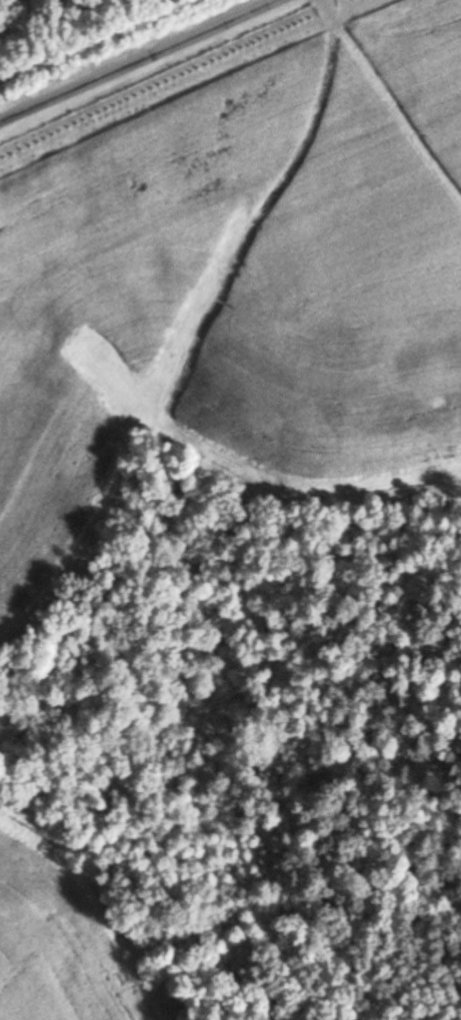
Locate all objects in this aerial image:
road: (146, 62)

